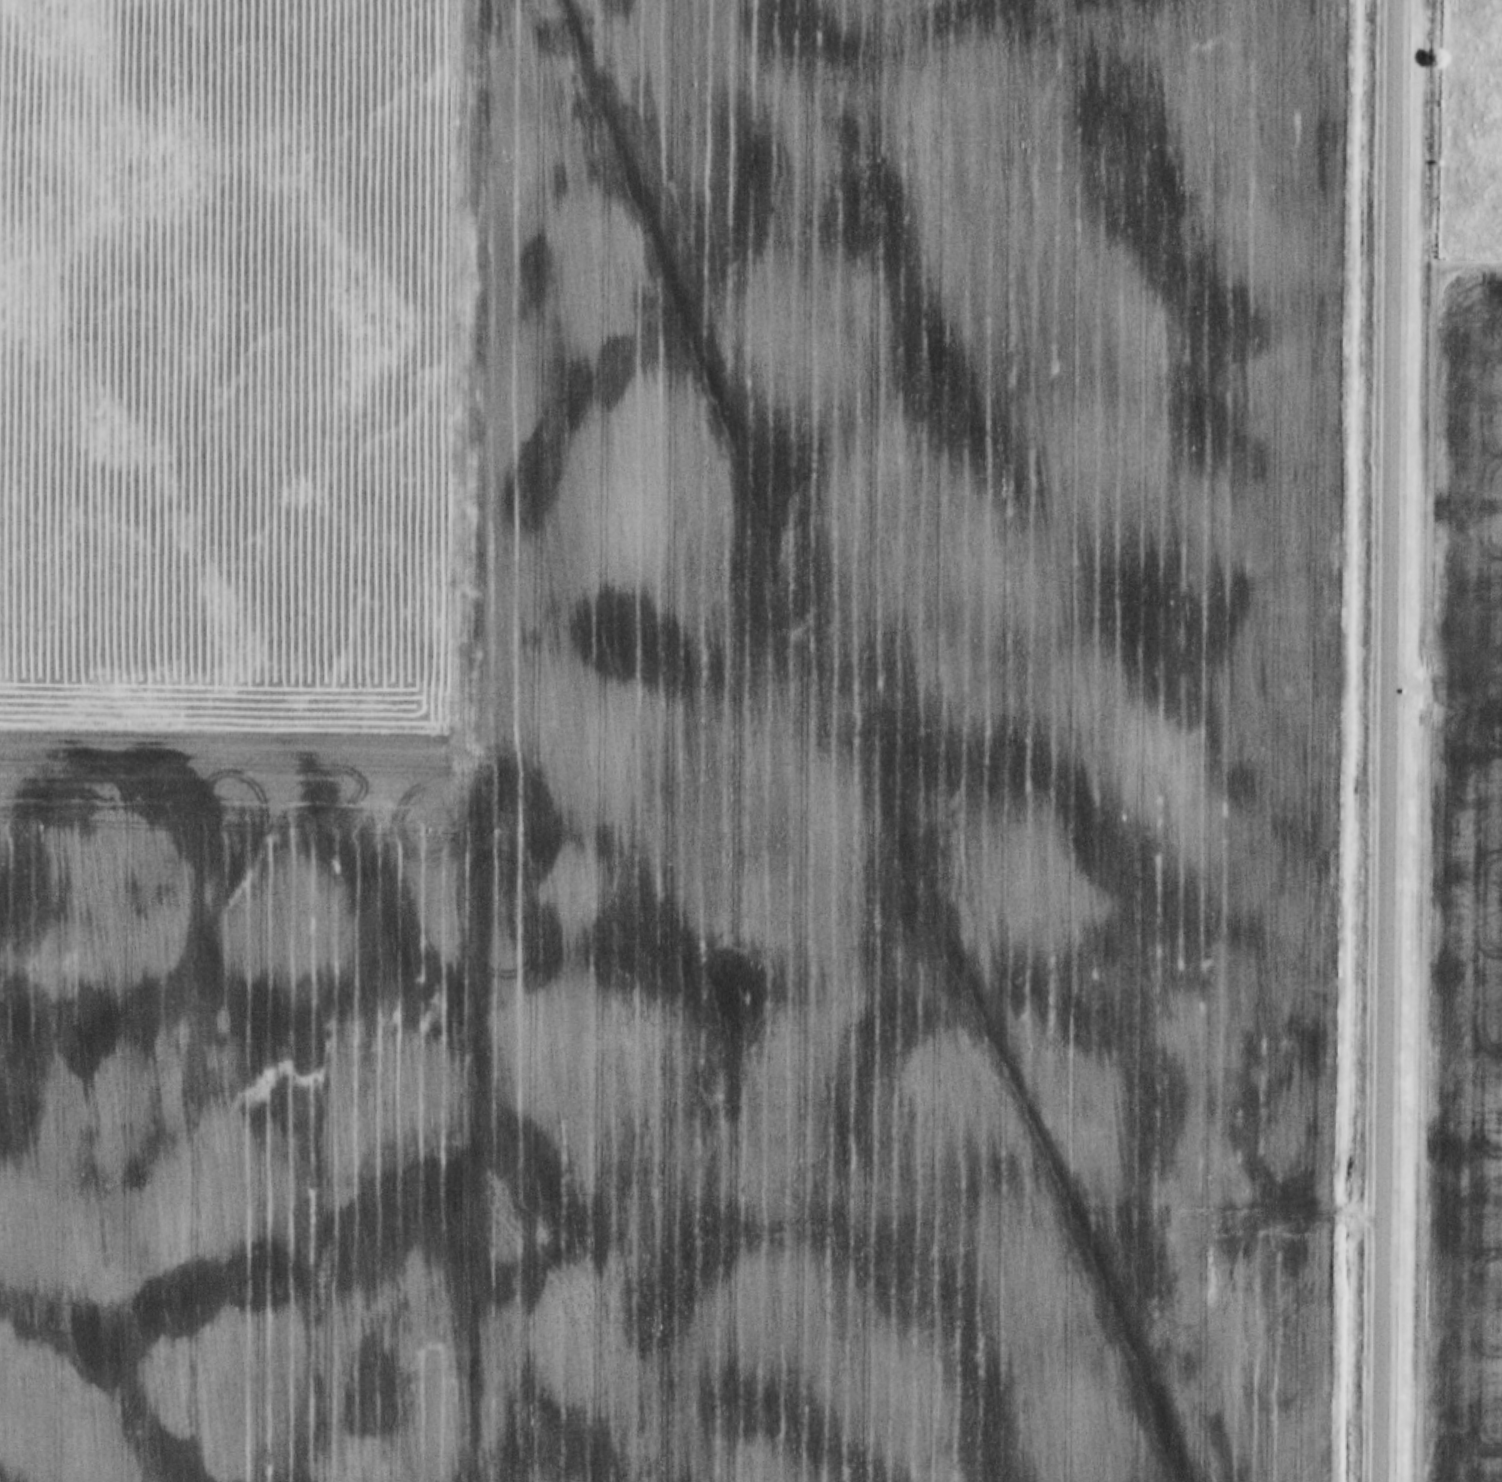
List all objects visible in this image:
road: (1389, 741)

